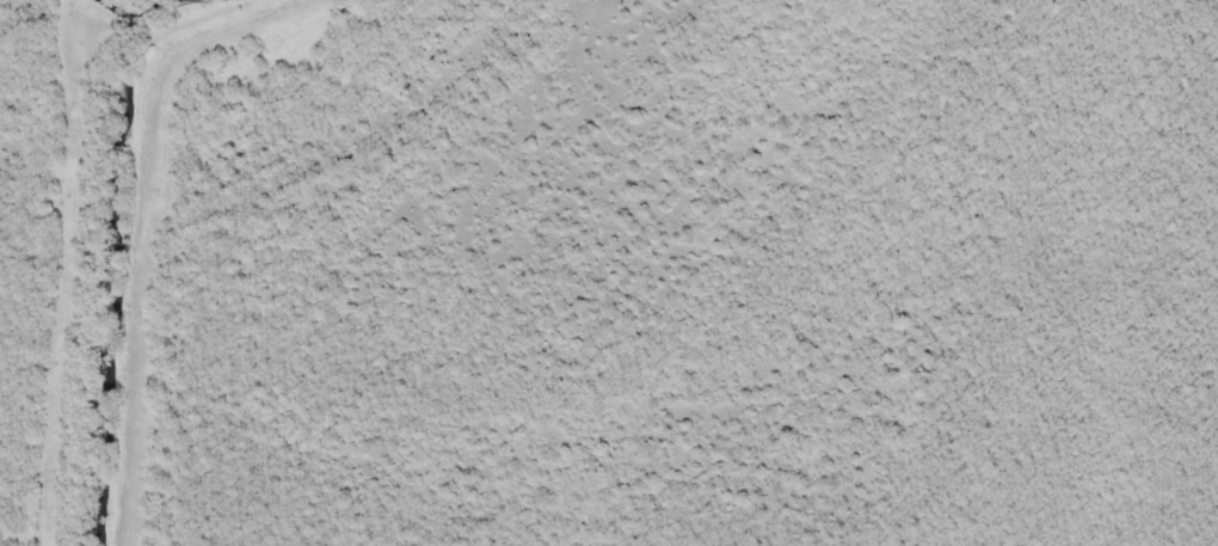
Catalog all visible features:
road: (362, 268)
road: (57, 272)

